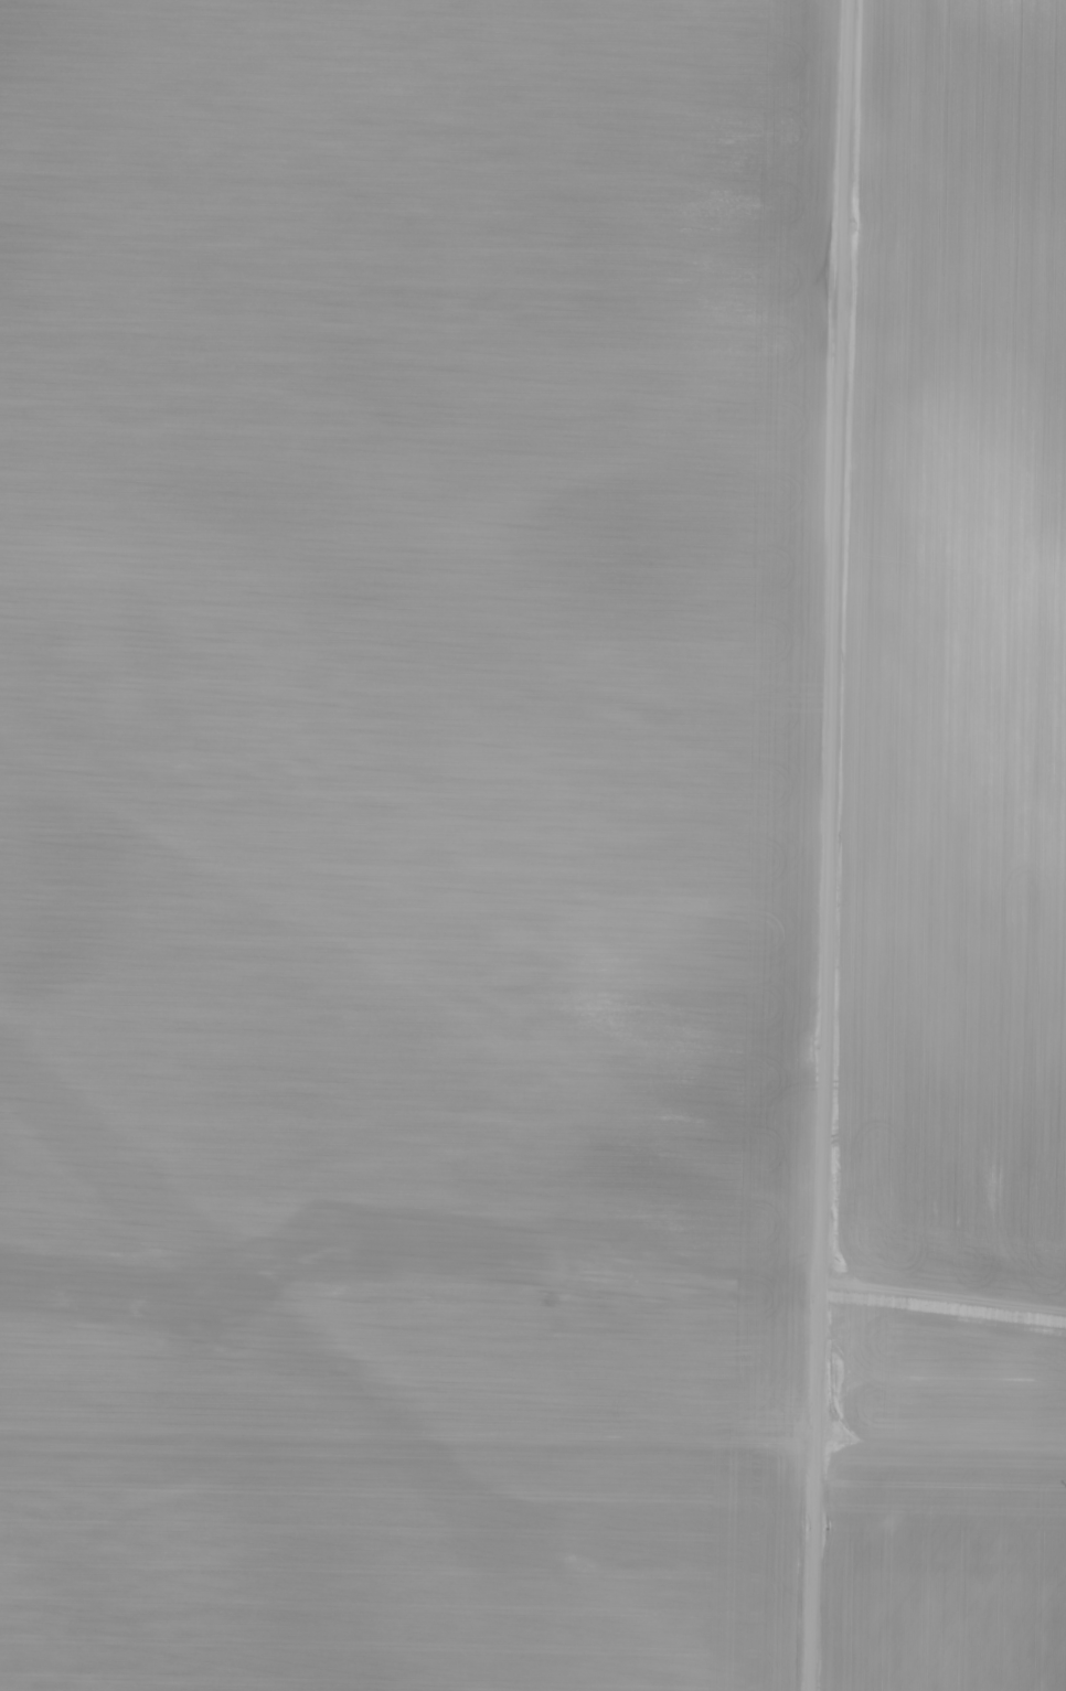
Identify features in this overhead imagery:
road: (839, 845)

